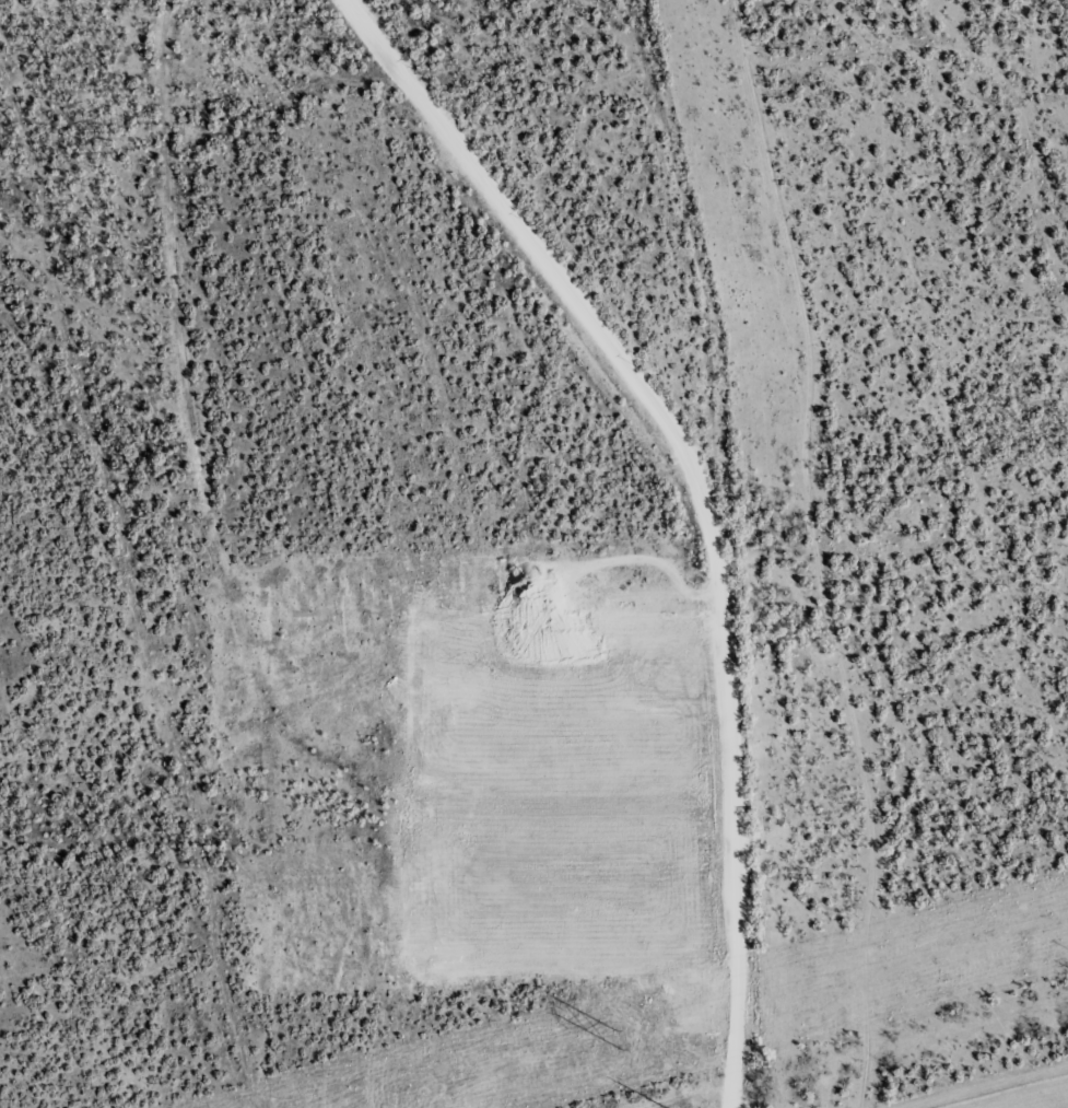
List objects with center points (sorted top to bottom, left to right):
power tower: (619, 1040)

